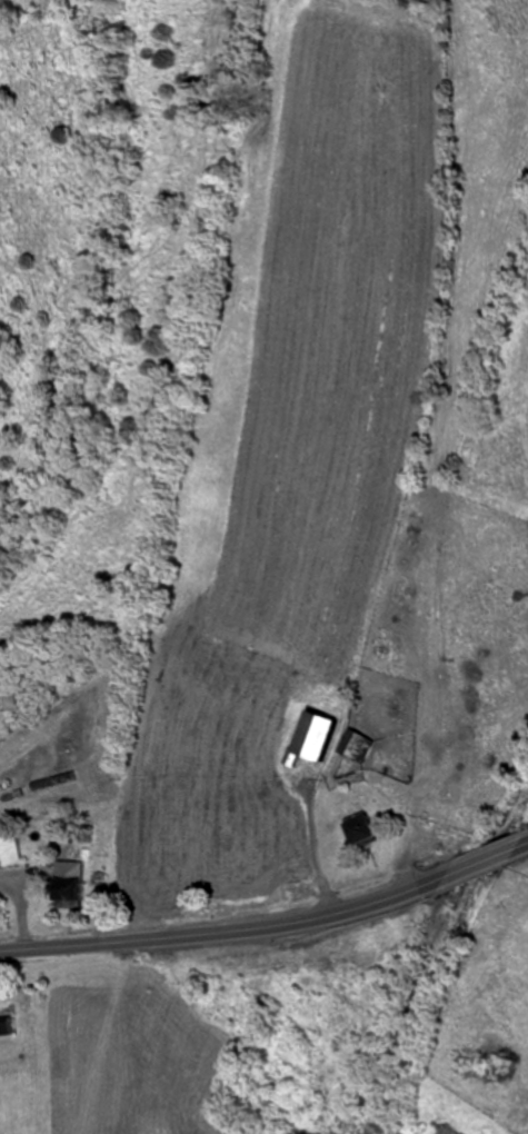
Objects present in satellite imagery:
building: (328, 735)
building: (362, 745)
building: (368, 829)
building: (445, 838)
road: (526, 840)
building: (12, 852)
road: (485, 856)
building: (73, 885)
road: (227, 931)
railway: (445, 966)
building: (10, 1023)

